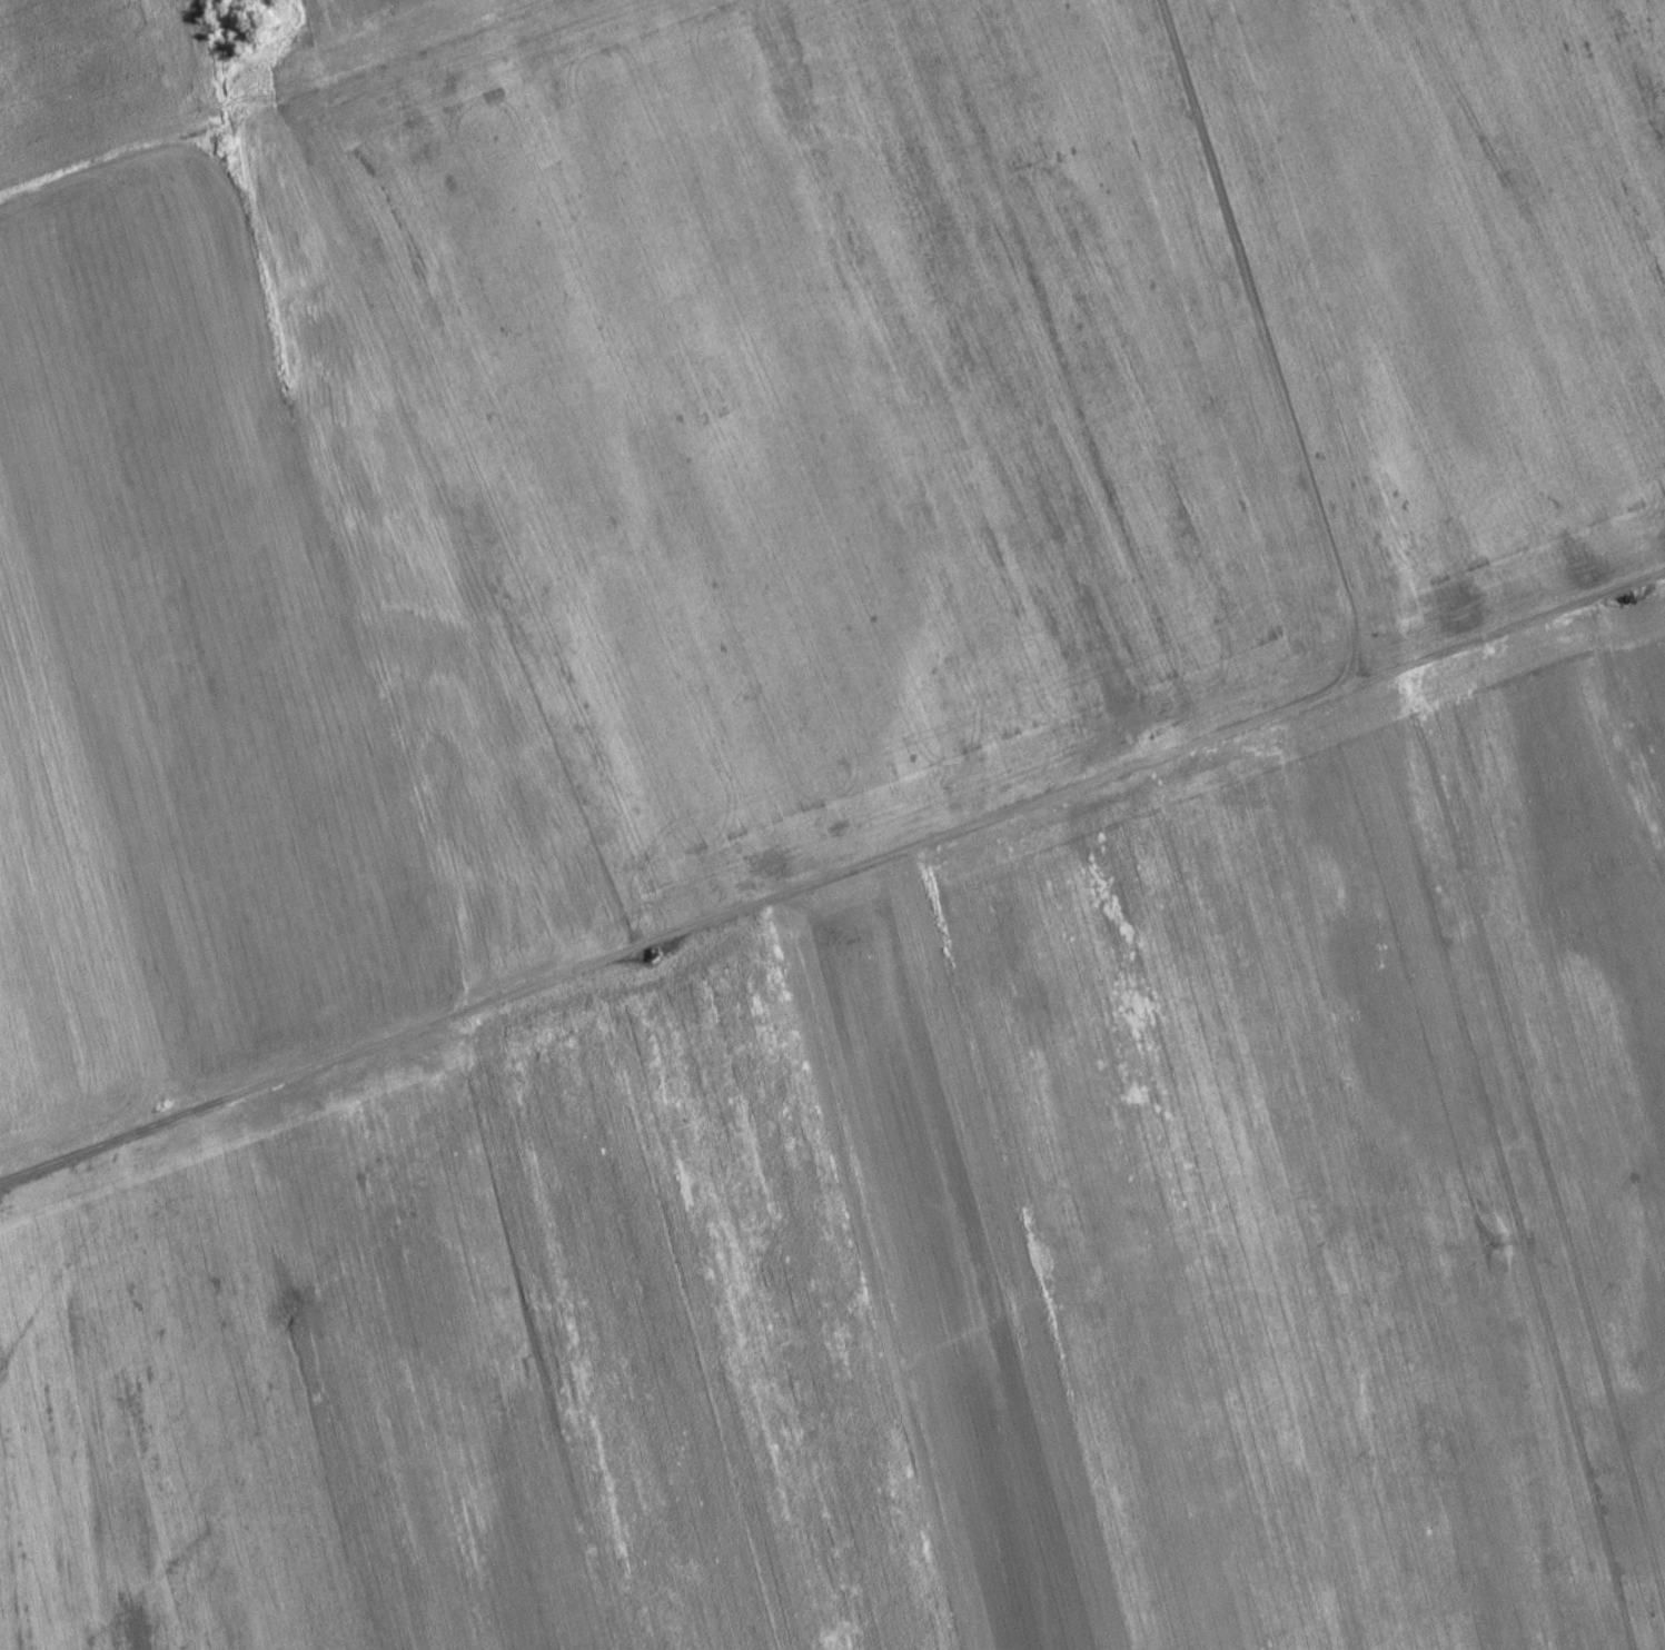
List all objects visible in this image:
road: (970, 784)

